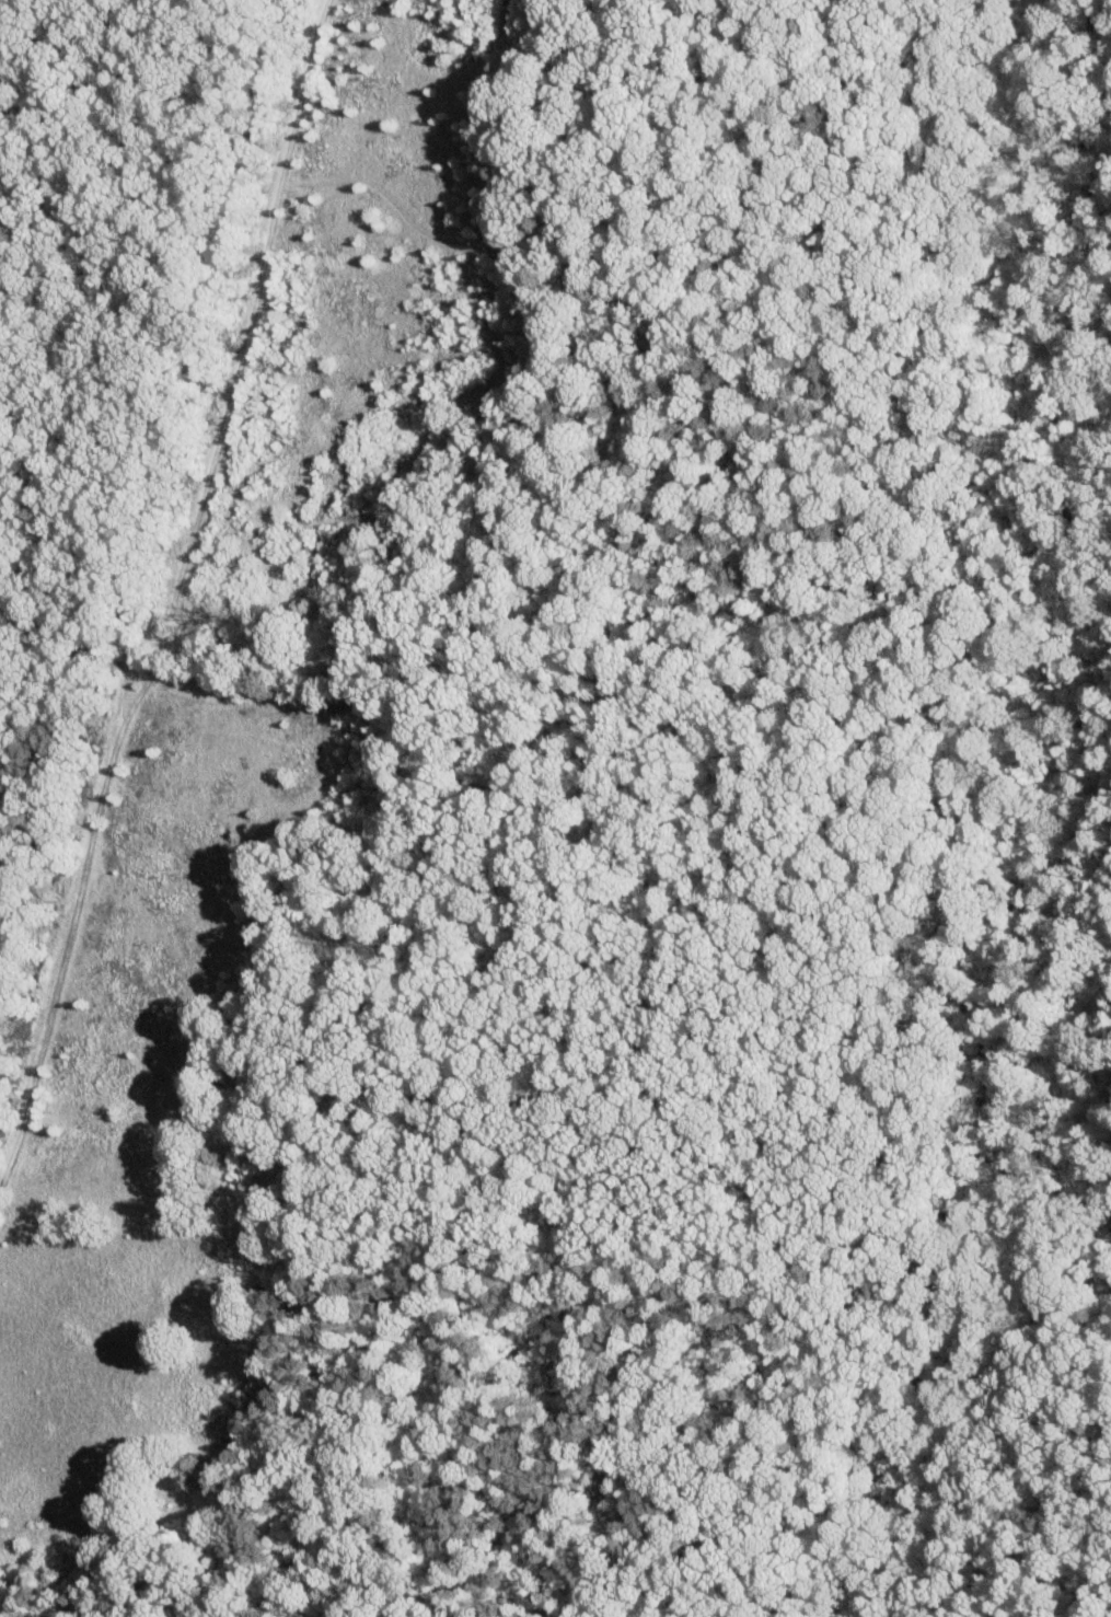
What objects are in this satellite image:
road: (512, 272)
road: (173, 594)
road: (461, 686)
road: (219, 697)
park: (555, 808)

